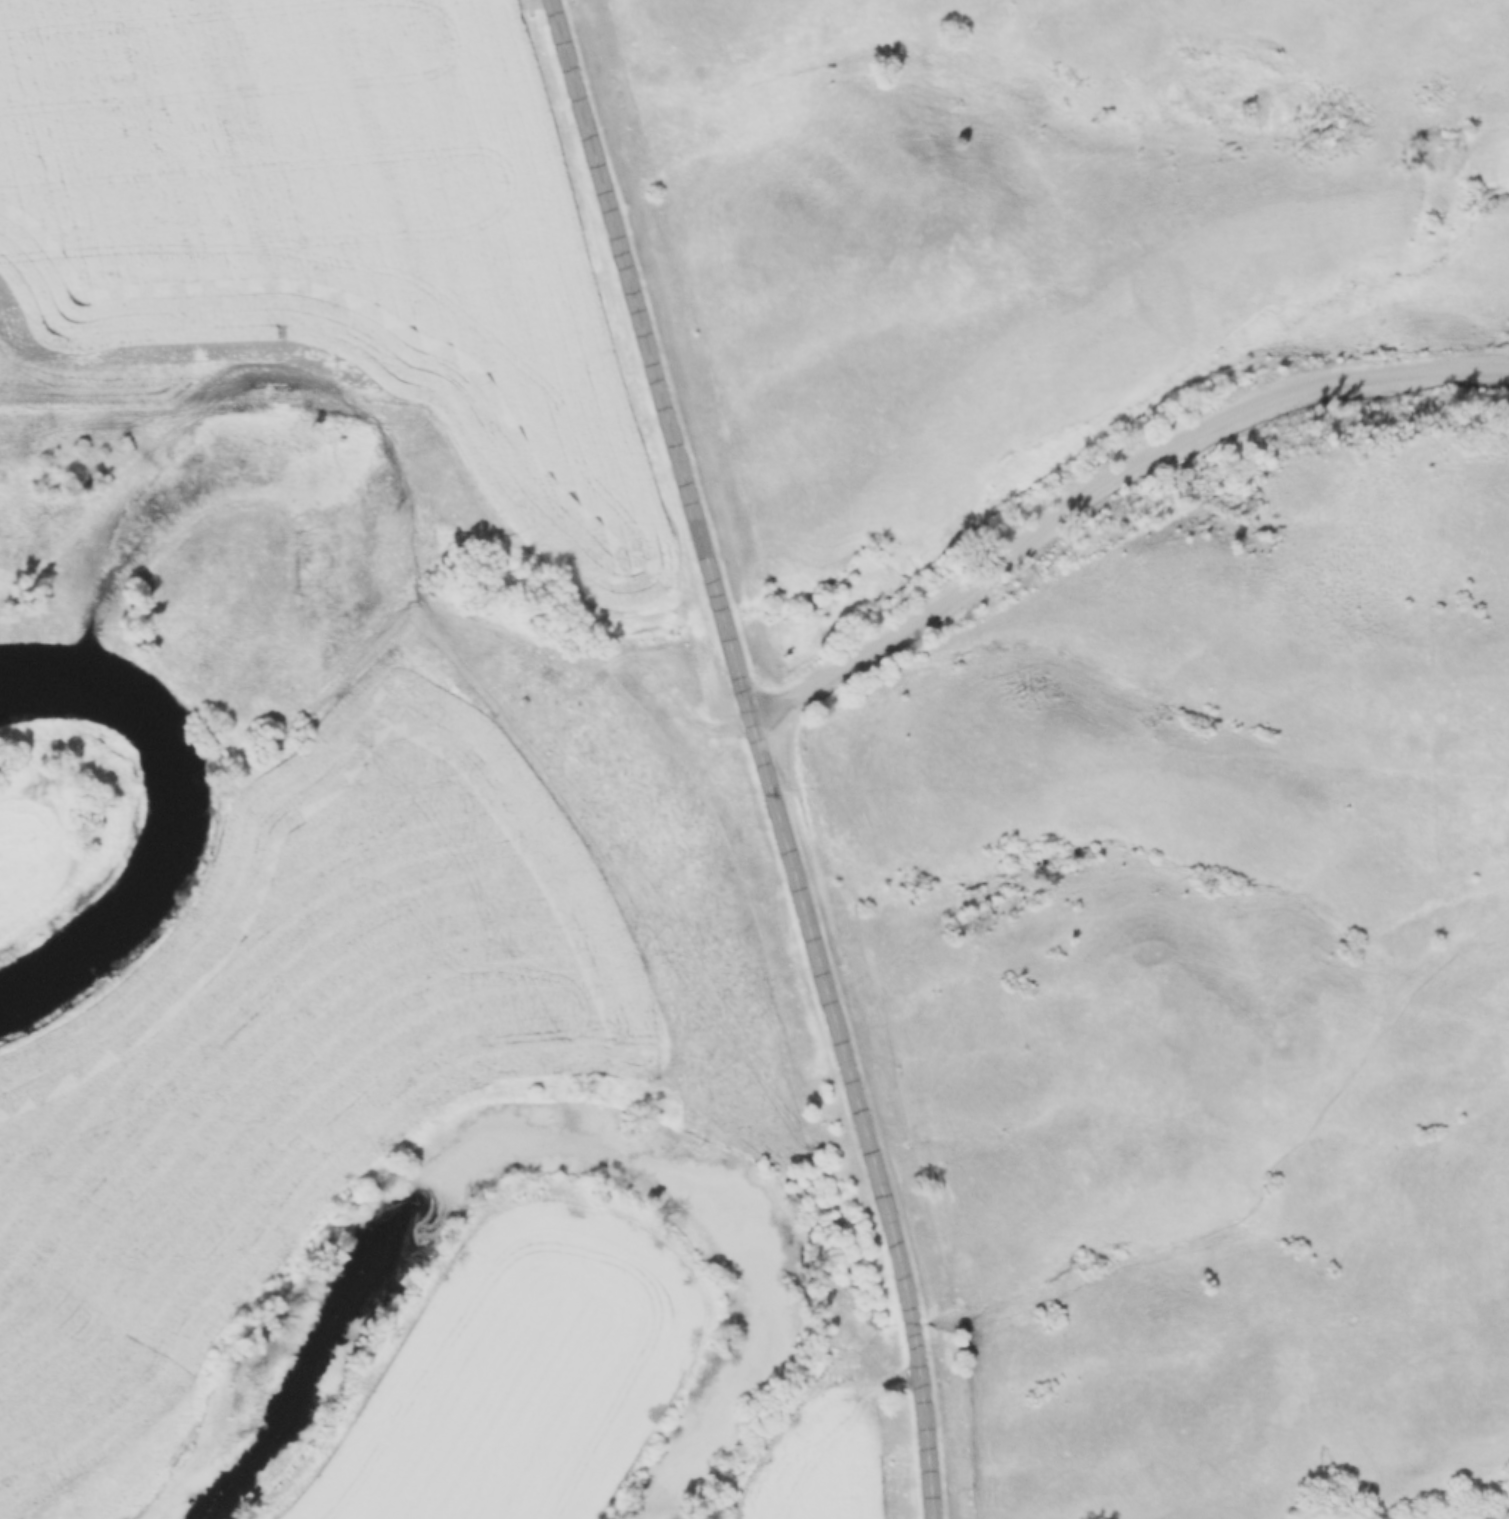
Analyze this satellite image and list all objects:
road: (1105, 495)
road: (759, 755)
river: (165, 805)

